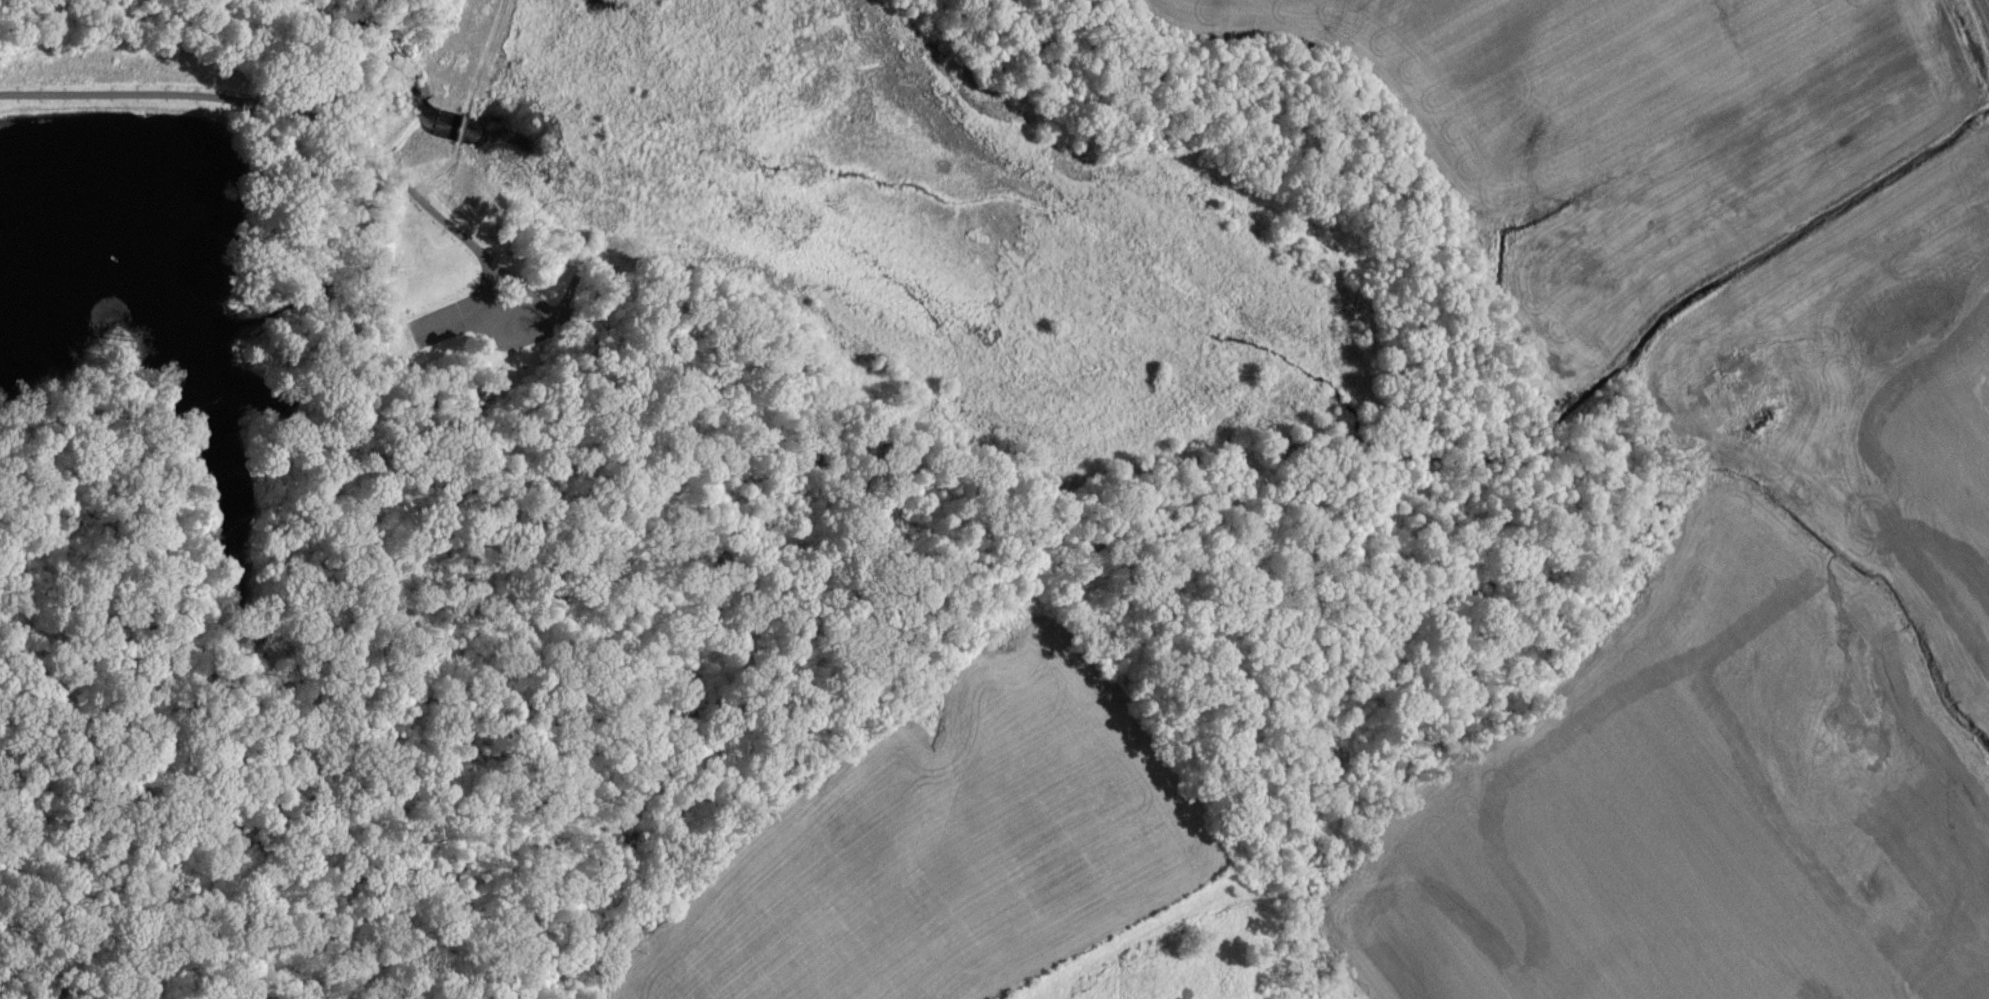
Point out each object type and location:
road: (1987, 5)

